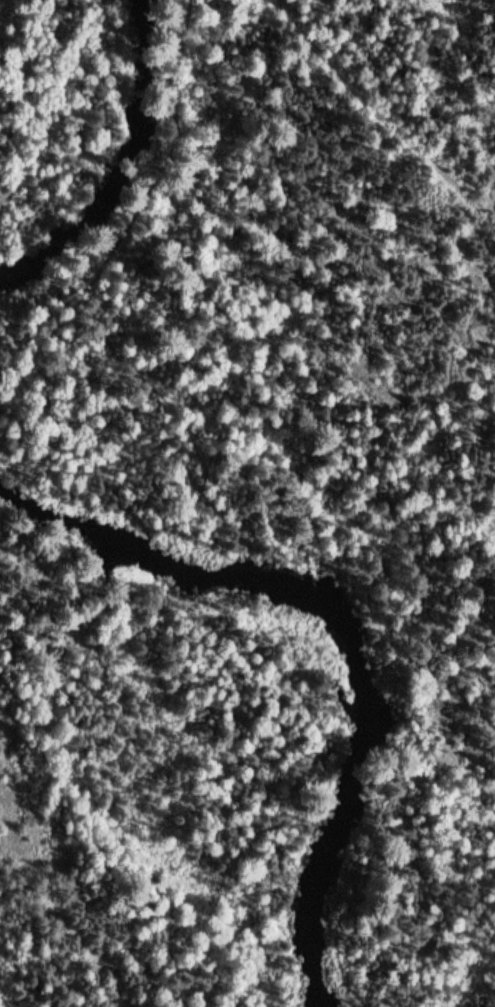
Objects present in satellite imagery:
river: (114, 190)
river: (329, 637)

